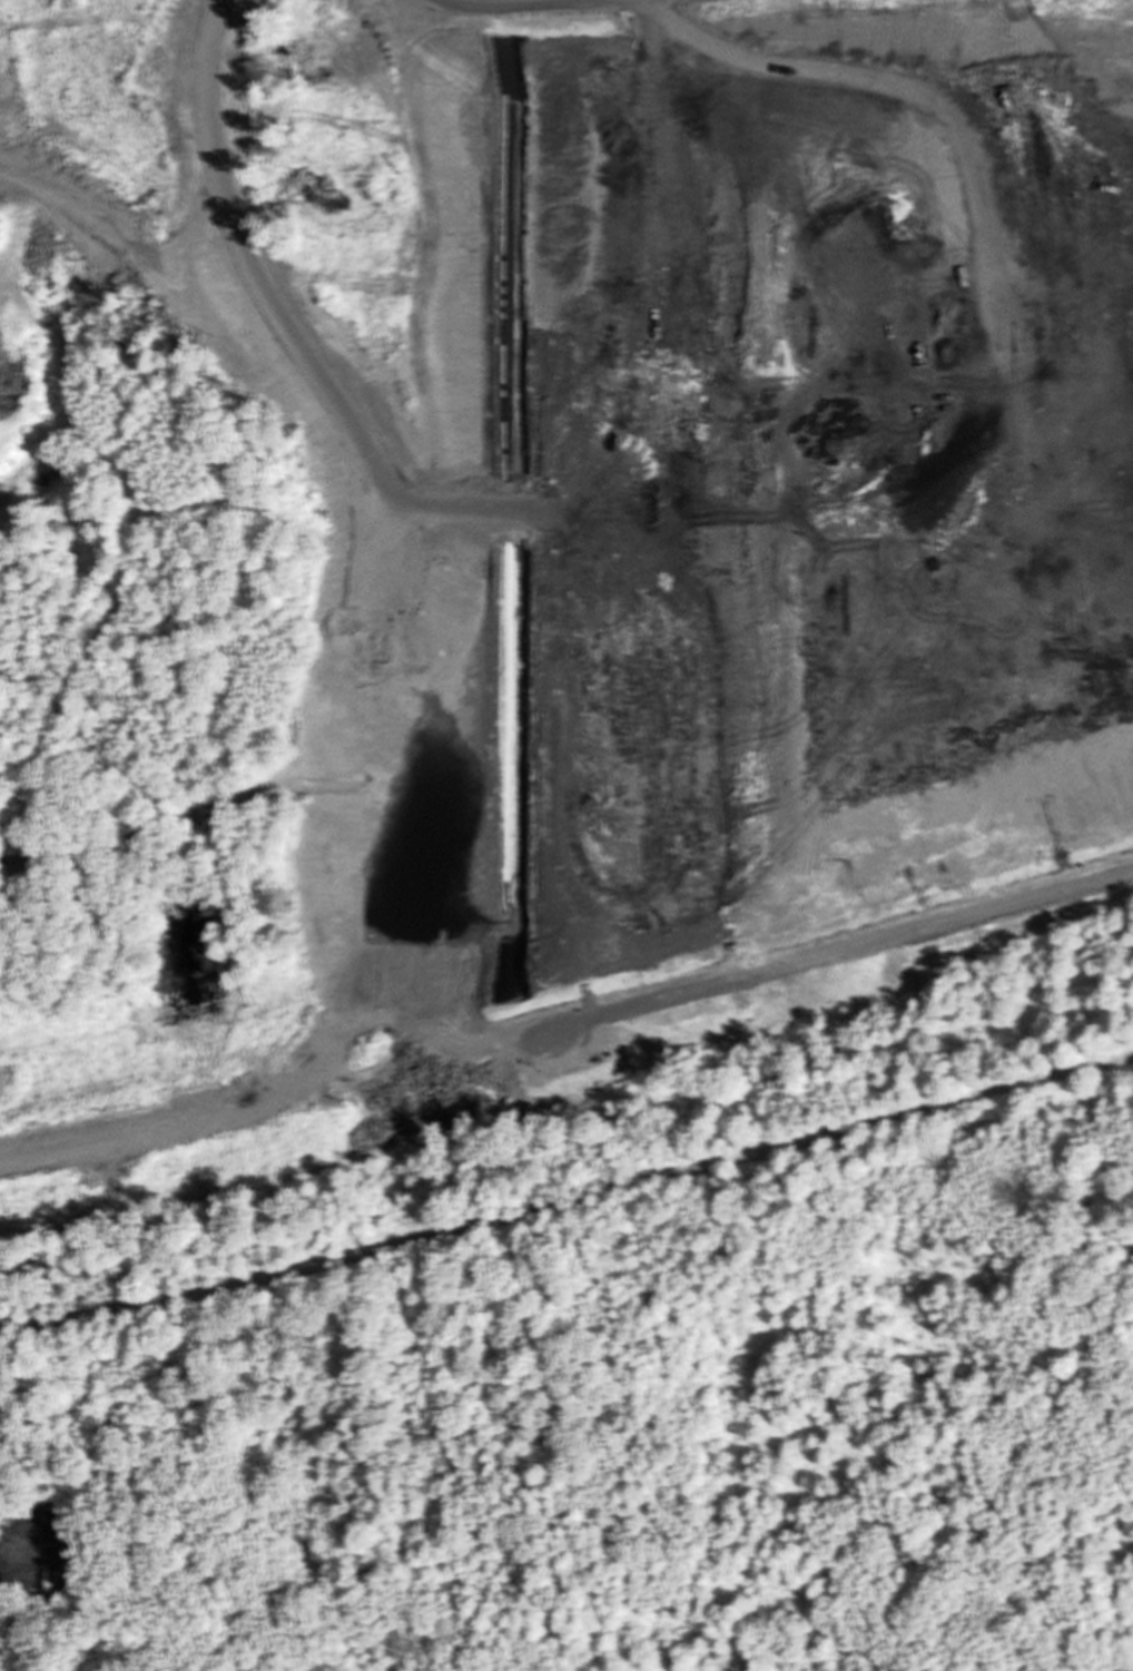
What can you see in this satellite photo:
landfill: (542, 573)
road: (568, 1208)
crop: (1132, 1662)

